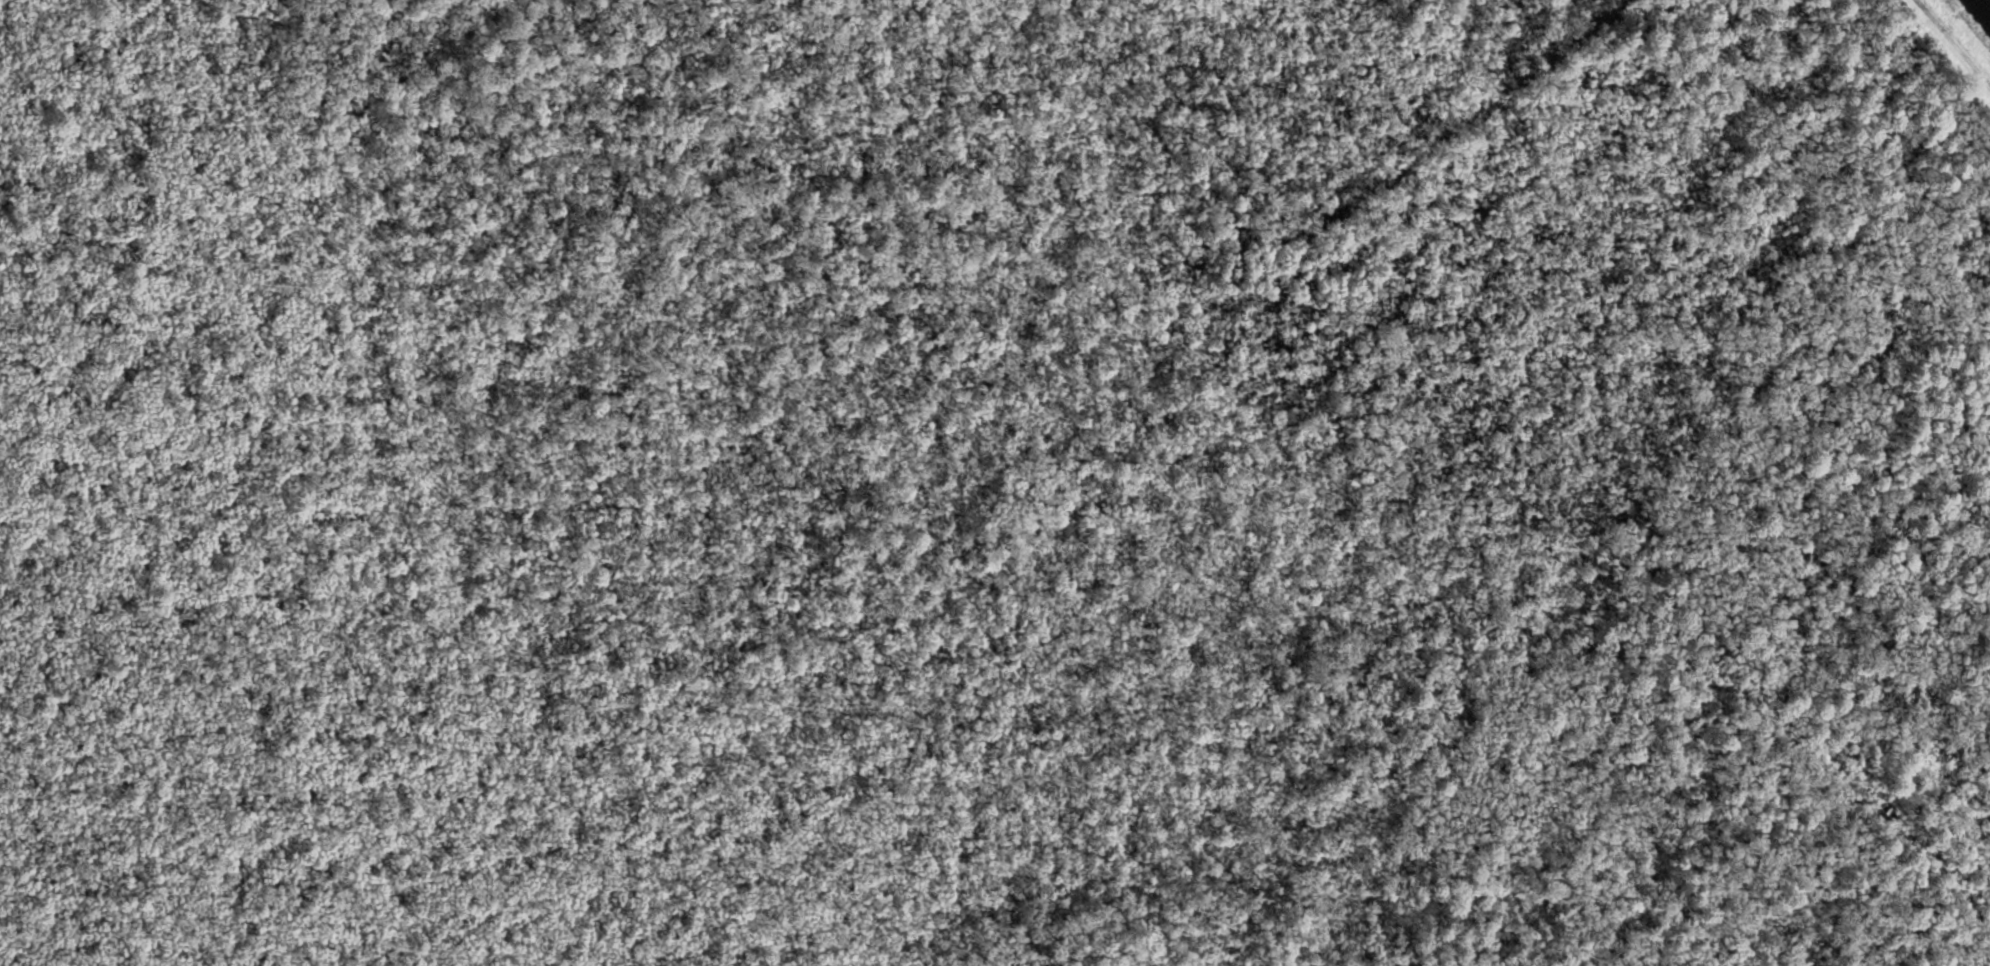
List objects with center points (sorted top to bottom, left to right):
road: (1974, 18)

